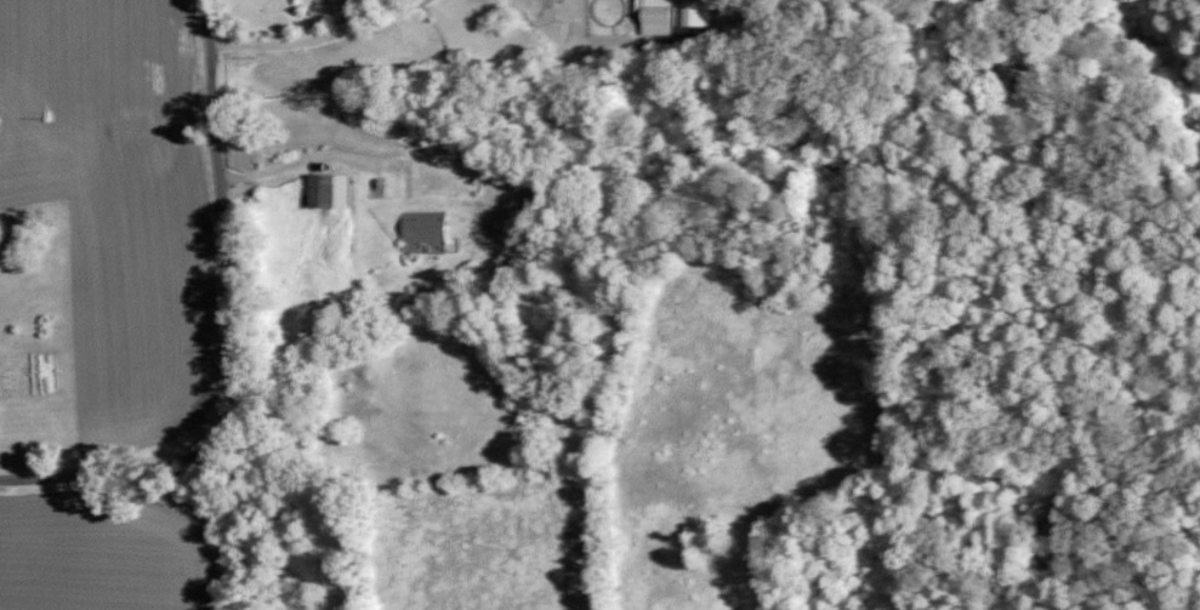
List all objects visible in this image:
building: (692, 13)
building: (655, 17)
road: (305, 40)
road: (292, 163)
building: (328, 190)
road: (222, 224)
building: (422, 226)
road: (108, 473)

